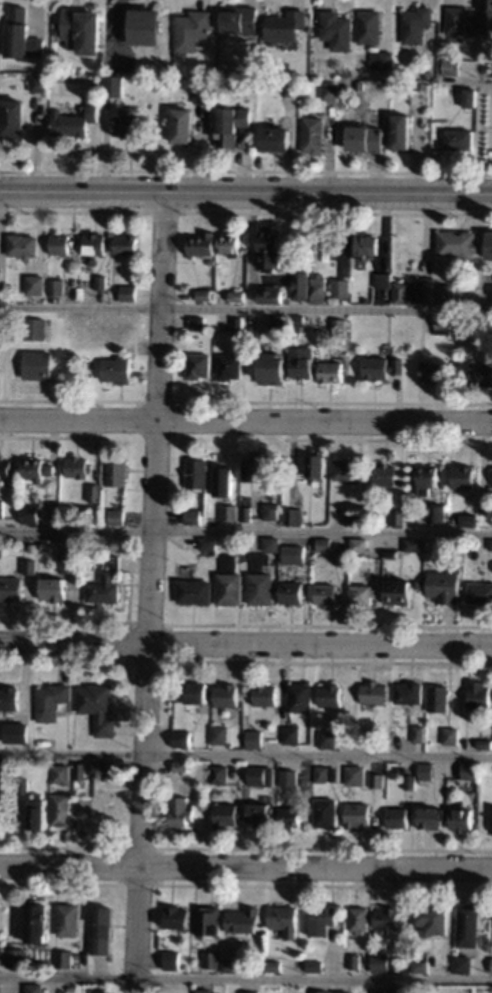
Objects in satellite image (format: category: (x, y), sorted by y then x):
building: (486, 16)
building: (237, 19)
building: (459, 21)
building: (414, 25)
building: (283, 26)
building: (366, 26)
building: (142, 27)
building: (189, 29)
building: (334, 30)
building: (80, 31)
building: (18, 36)
building: (171, 54)
building: (379, 59)
building: (448, 66)
building: (235, 71)
building: (344, 72)
building: (426, 74)
road: (467, 81)
building: (37, 82)
building: (262, 83)
building: (358, 86)
building: (107, 87)
building: (328, 91)
building: (201, 94)
building: (467, 98)
building: (11, 117)
building: (71, 122)
building: (123, 125)
building: (180, 125)
building: (228, 125)
building: (399, 131)
building: (310, 135)
building: (272, 139)
building: (363, 139)
building: (455, 139)
road: (245, 190)
building: (62, 244)
building: (95, 244)
building: (125, 244)
building: (230, 244)
building: (459, 244)
building: (202, 245)
building: (369, 245)
building: (24, 246)
building: (490, 246)
building: (269, 248)
building: (334, 250)
building: (326, 256)
building: (213, 261)
building: (0, 274)
building: (384, 281)
building: (102, 282)
building: (36, 285)
building: (301, 285)
building: (56, 286)
building: (341, 288)
building: (319, 289)
building: (414, 291)
building: (129, 293)
building: (446, 293)
building: (205, 294)
building: (272, 294)
building: (237, 295)
road: (245, 309)
building: (197, 323)
building: (297, 323)
building: (279, 324)
building: (444, 325)
building: (238, 327)
building: (339, 327)
building: (35, 329)
building: (302, 363)
building: (38, 364)
building: (200, 365)
building: (273, 366)
building: (231, 367)
building: (382, 367)
building: (118, 368)
building: (434, 371)
building: (332, 372)
building: (476, 374)
road: (245, 419)
building: (317, 465)
building: (5, 467)
building: (78, 467)
building: (253, 468)
building: (37, 469)
building: (348, 470)
building: (117, 472)
building: (198, 473)
building: (386, 475)
building: (465, 477)
building: (428, 479)
building: (224, 481)
building: (95, 493)
building: (486, 505)
building: (2, 508)
building: (229, 512)
building: (271, 512)
building: (30, 513)
building: (438, 513)
building: (247, 514)
building: (117, 516)
building: (193, 516)
building: (294, 516)
building: (399, 517)
building: (354, 519)
building: (469, 520)
road: (245, 532)
building: (290, 543)
building: (208, 544)
building: (272, 544)
building: (324, 544)
building: (360, 544)
building: (415, 545)
building: (46, 546)
building: (491, 546)
building: (289, 554)
building: (62, 563)
building: (31, 566)
building: (261, 580)
building: (230, 581)
building: (106, 582)
building: (419, 583)
building: (59, 586)
building: (445, 587)
building: (12, 589)
road: (147, 591)
building: (195, 591)
building: (399, 592)
building: (292, 593)
building: (327, 594)
building: (480, 594)
building: (362, 595)
road: (245, 643)
building: (196, 692)
building: (408, 692)
building: (375, 693)
building: (227, 695)
building: (265, 695)
building: (479, 695)
building: (331, 696)
building: (301, 697)
building: (439, 699)
building: (14, 701)
building: (52, 701)
building: (99, 707)
building: (13, 732)
building: (418, 734)
building: (220, 735)
building: (291, 735)
building: (451, 736)
building: (367, 737)
building: (182, 739)
building: (254, 739)
building: (328, 739)
building: (201, 743)
building: (485, 744)
road: (245, 756)
building: (181, 766)
building: (106, 769)
building: (81, 771)
building: (426, 771)
building: (470, 771)
building: (5, 772)
building: (62, 773)
building: (326, 773)
building: (219, 774)
building: (260, 775)
building: (355, 776)
building: (290, 777)
building: (378, 780)
building: (410, 781)
building: (25, 786)
building: (63, 810)
building: (182, 811)
building: (38, 812)
building: (259, 813)
building: (325, 813)
building: (226, 816)
building: (358, 816)
building: (431, 817)
building: (290, 818)
building: (397, 818)
building: (462, 819)
road: (245, 866)
building: (177, 917)
building: (388, 918)
building: (69, 919)
building: (1, 920)
building: (245, 920)
building: (285, 920)
building: (323, 920)
building: (360, 920)
building: (432, 920)
building: (208, 921)
building: (38, 923)
building: (469, 924)
building: (102, 930)
building: (17, 957)
building: (64, 958)
building: (211, 959)
building: (173, 960)
building: (355, 961)
building: (380, 961)
building: (462, 964)
building: (231, 965)
building: (490, 965)
building: (273, 966)
building: (316, 966)
building: (420, 967)
road: (245, 979)
building: (1, 988)
building: (36, 988)
building: (73, 988)
building: (398, 989)
building: (203, 990)
building: (322, 991)
building: (379, 991)
building: (250, 992)
building: (342, 992)

